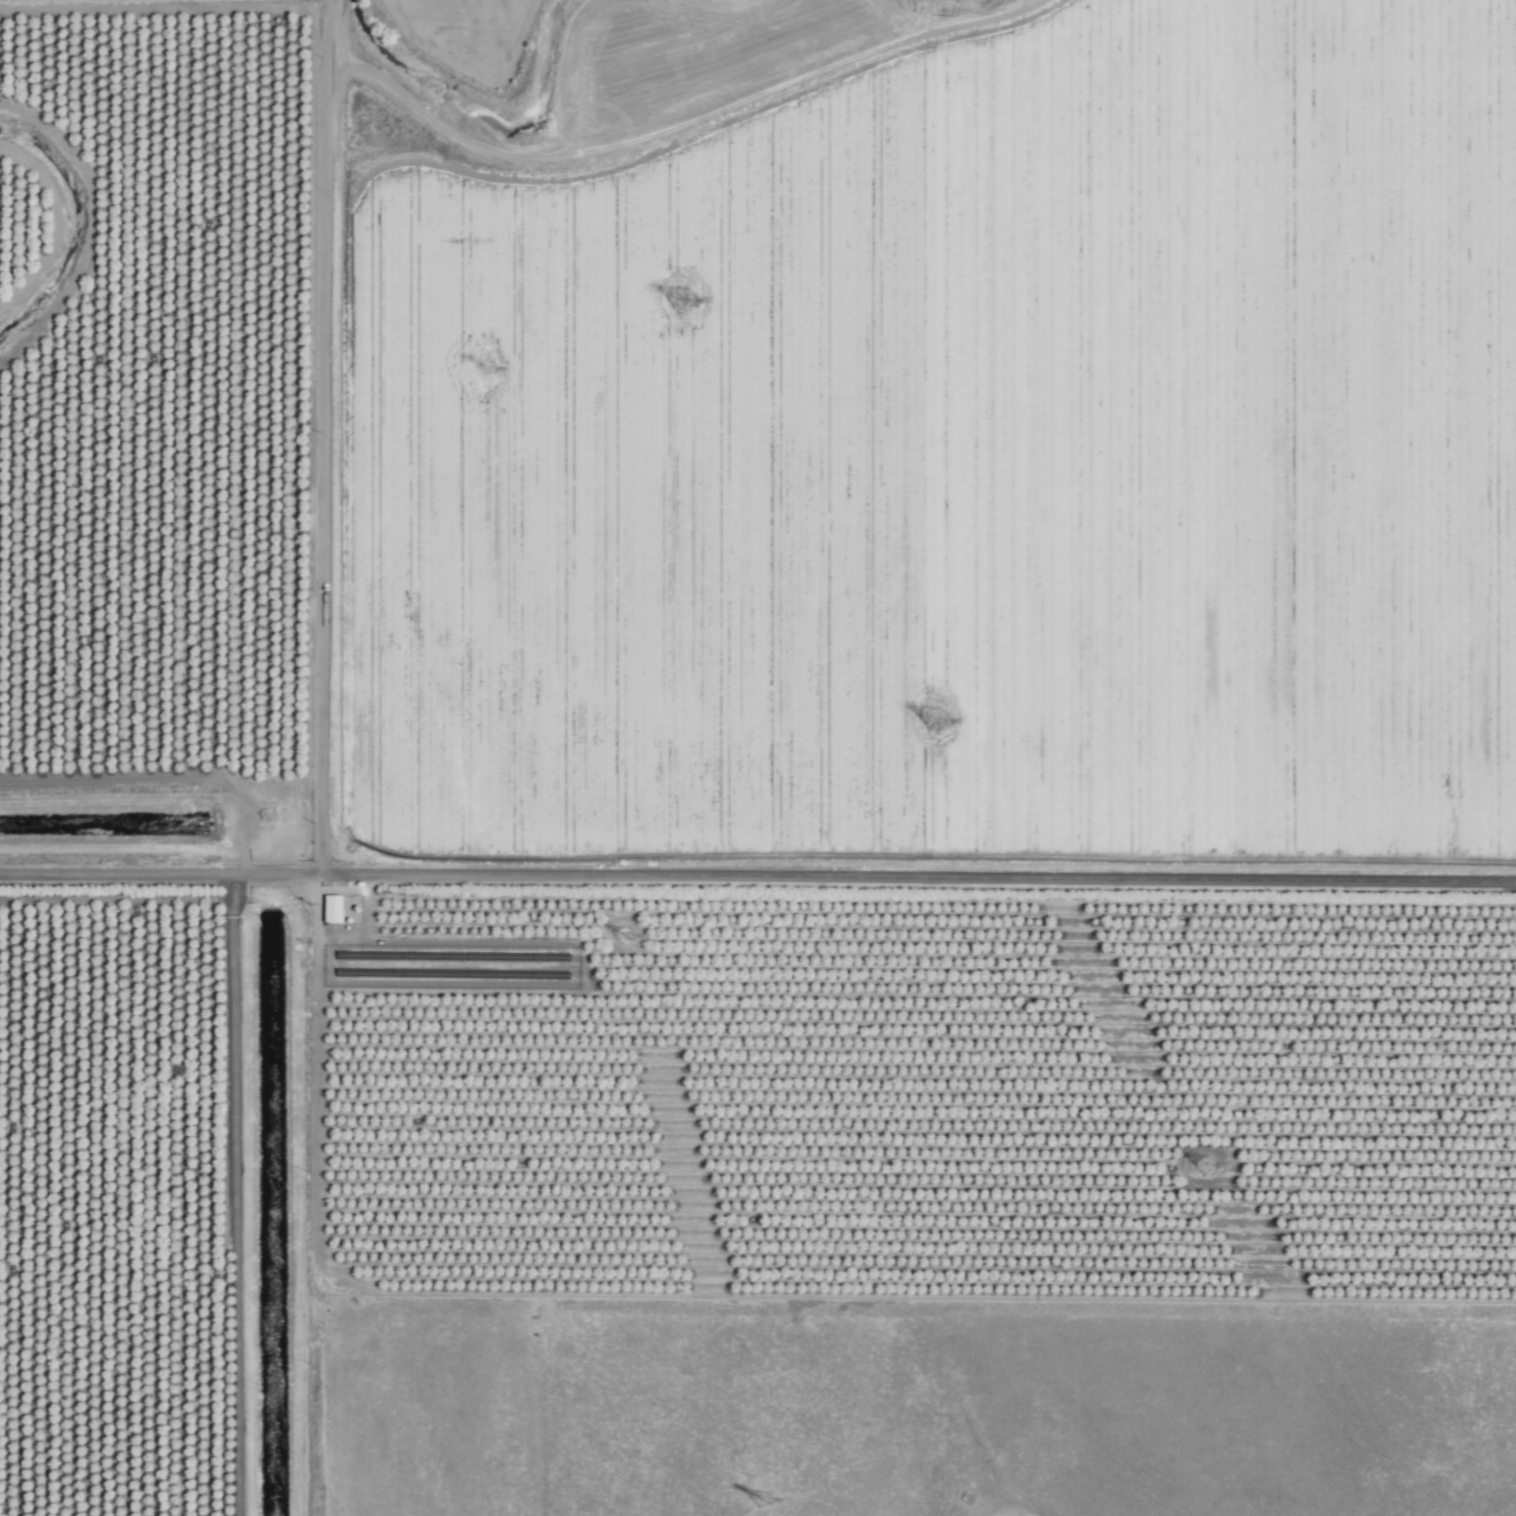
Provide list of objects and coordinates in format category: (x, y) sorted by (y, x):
power tower: (681, 301)
power tower: (484, 370)
road: (320, 437)
power tower: (932, 723)
road: (758, 878)
power tower: (623, 937)
power tower: (1201, 1167)
power tower: (759, 1502)

